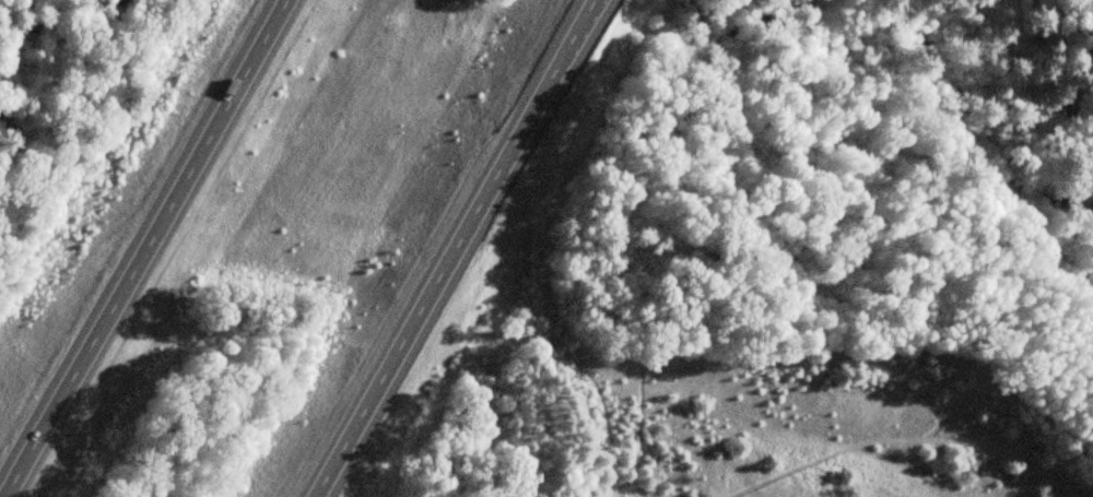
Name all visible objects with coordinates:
road: (142, 248)
road: (450, 248)

